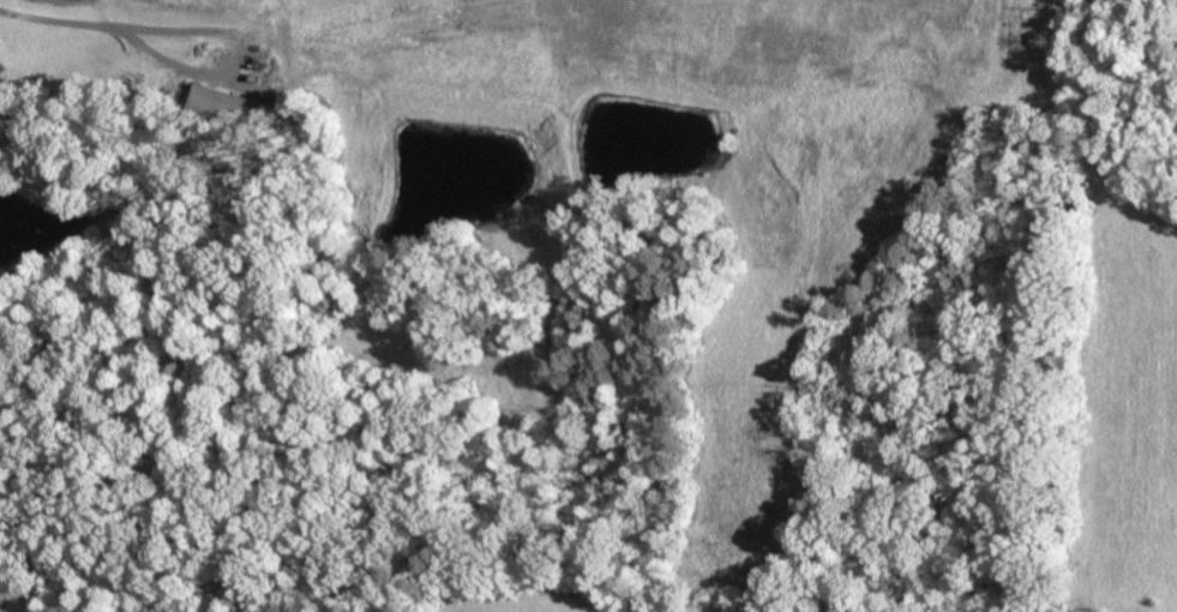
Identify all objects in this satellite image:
road: (62, 19)
road: (242, 58)
building: (228, 110)

